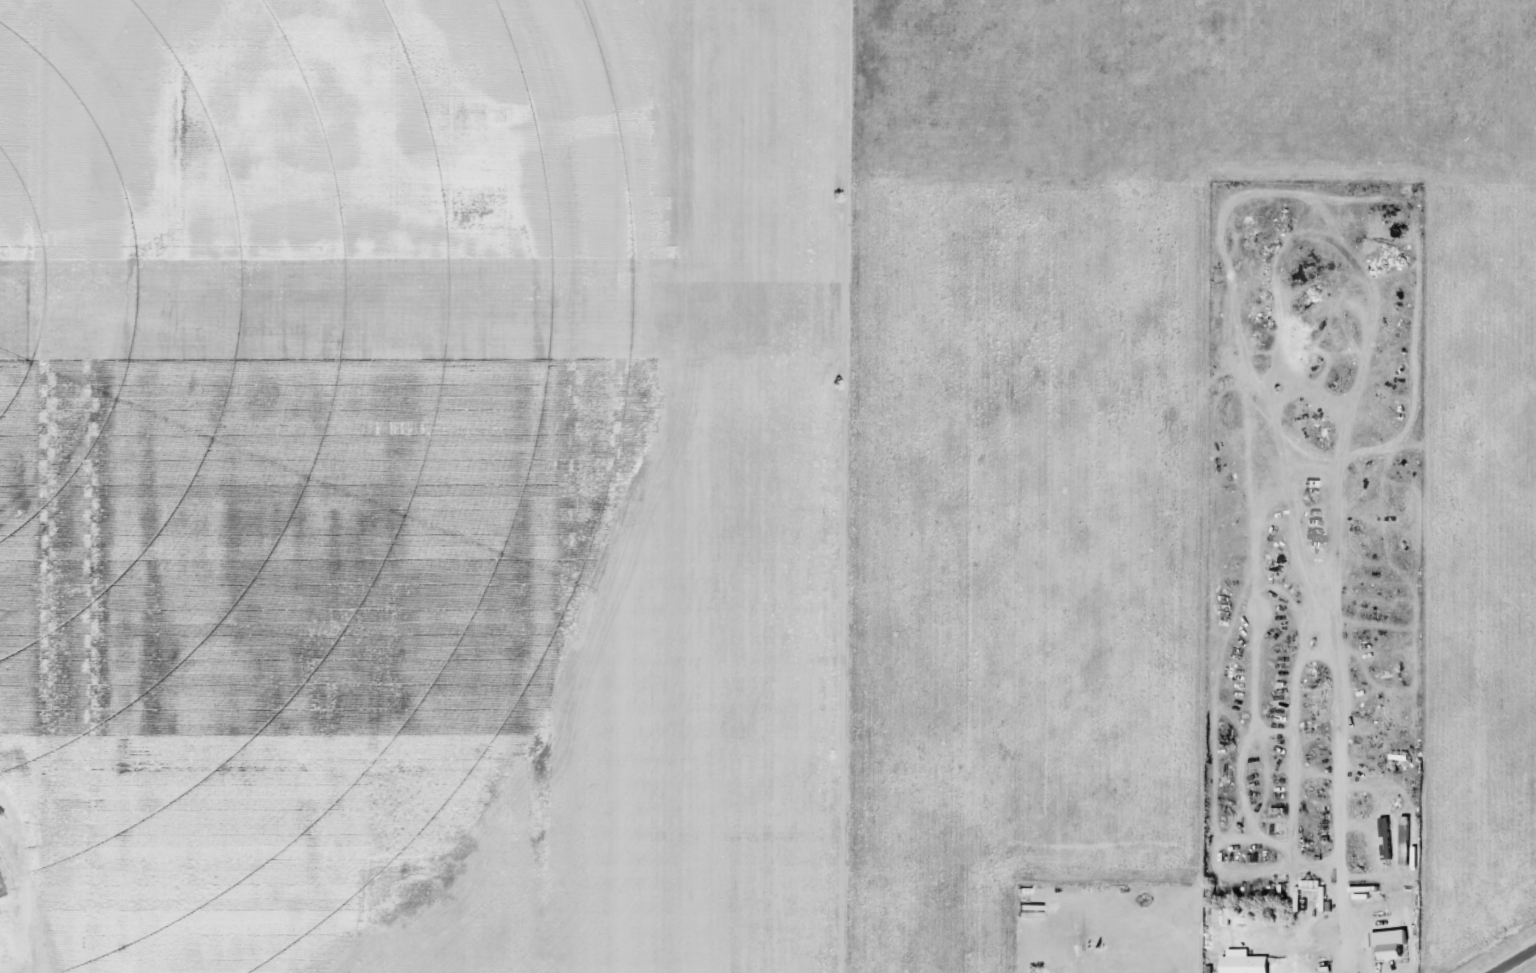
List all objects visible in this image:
building: (4, 867)
building: (2, 889)
building: (1302, 899)
building: (1226, 916)
building: (1393, 937)
road: (1514, 960)
building: (1249, 962)

